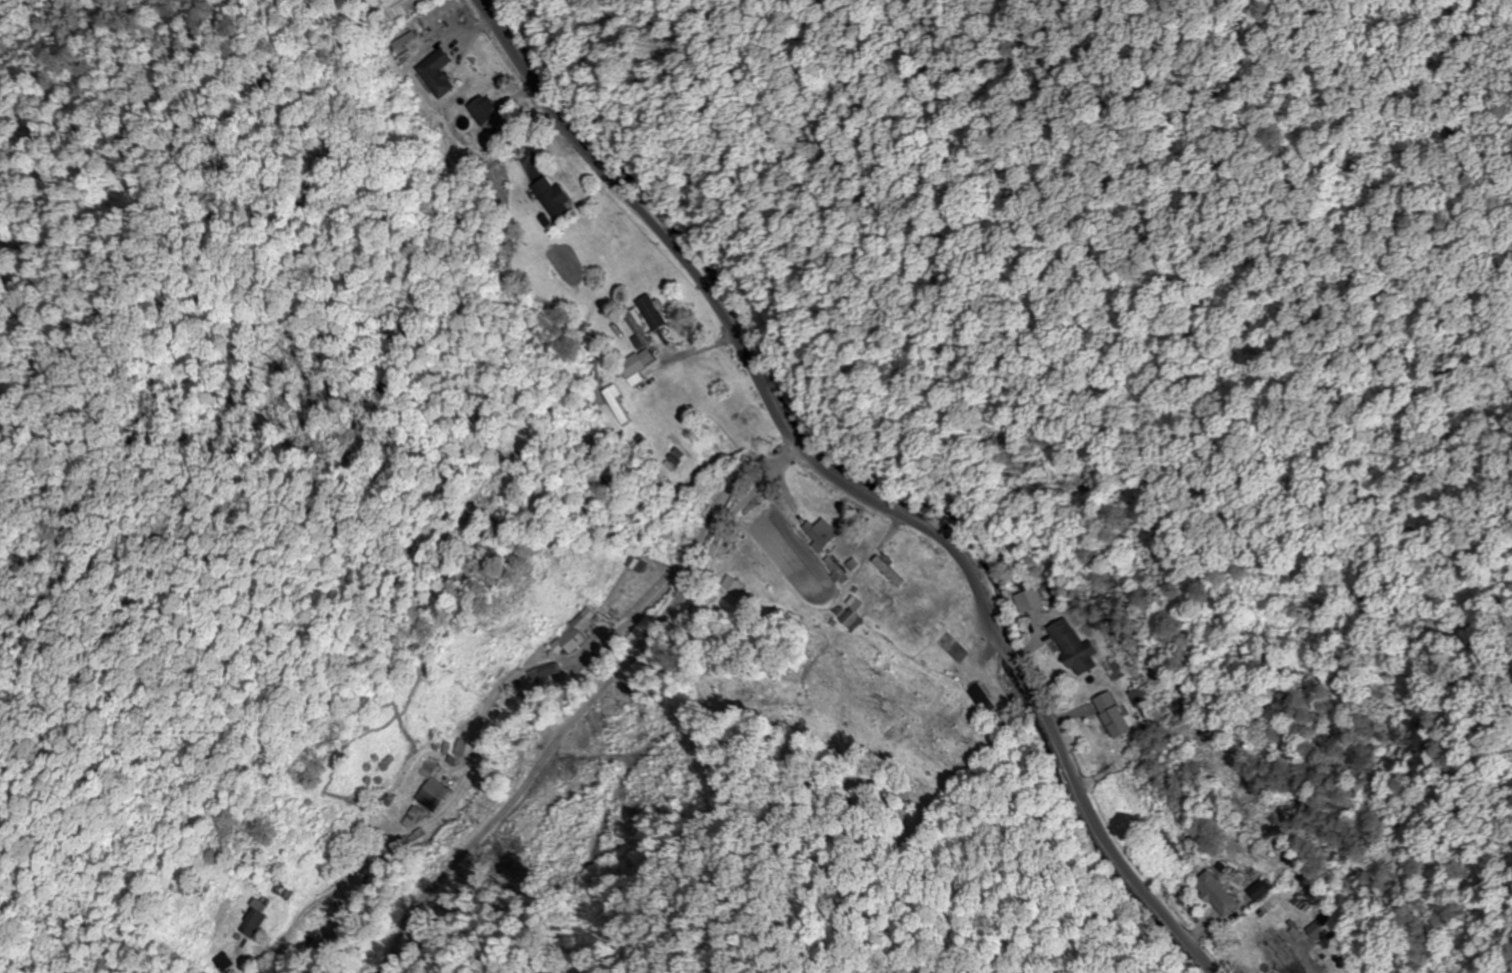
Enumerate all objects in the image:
building: (442, 10)
building: (434, 72)
building: (482, 108)
building: (550, 197)
building: (651, 312)
building: (634, 364)
building: (614, 405)
road: (853, 488)
building: (819, 533)
building: (887, 571)
building: (1026, 581)
building: (1029, 599)
road: (621, 618)
building: (848, 619)
building: (570, 634)
building: (1073, 647)
building: (540, 672)
building: (977, 695)
building: (1111, 715)
building: (430, 794)
building: (1169, 841)
building: (1256, 890)
building: (1215, 893)
building: (1275, 938)

